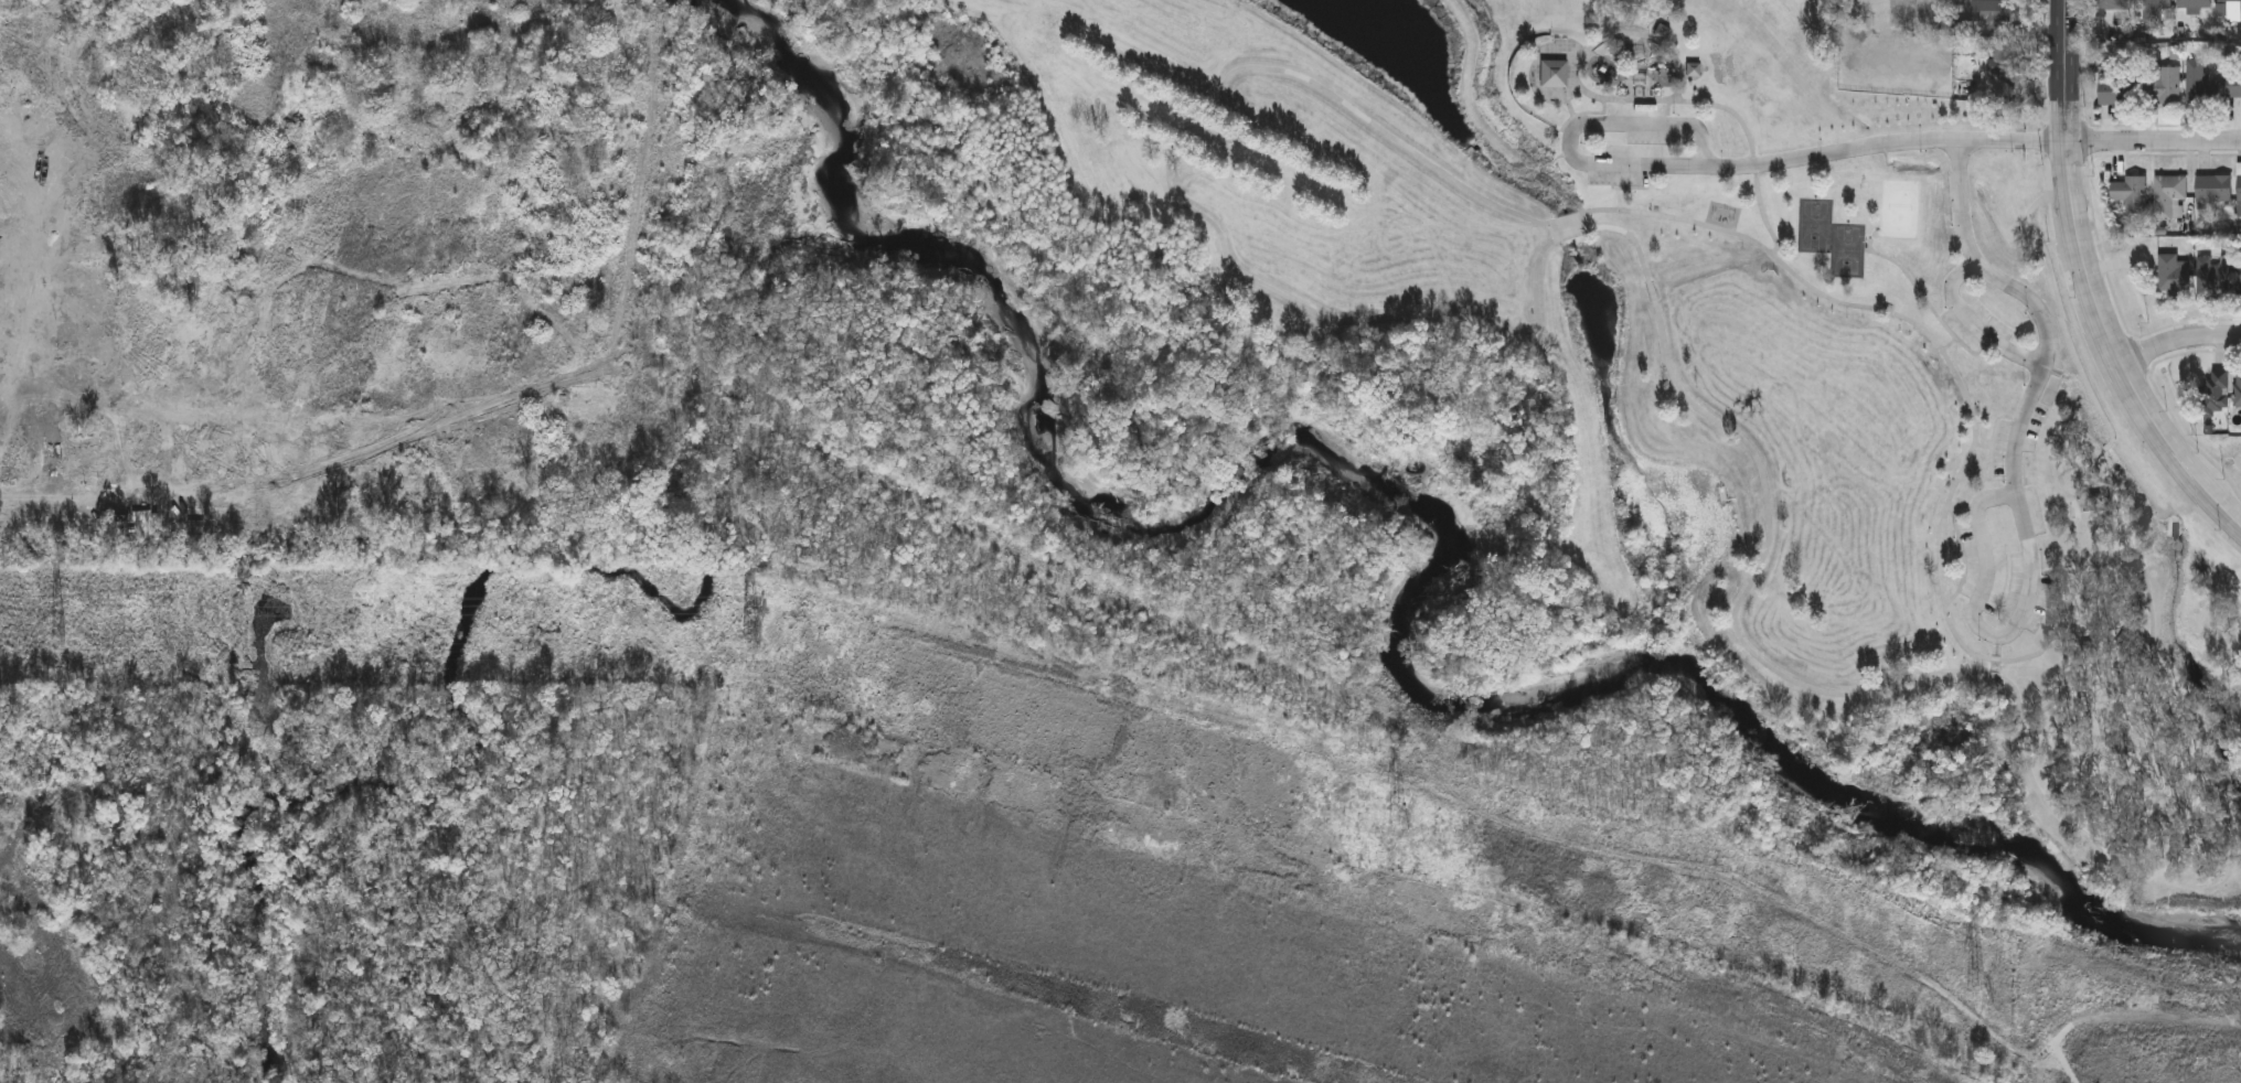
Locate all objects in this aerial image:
building: (2229, 1)
building: (2194, 3)
building: (2112, 6)
building: (2153, 9)
building: (1991, 10)
building: (1555, 73)
building: (2198, 84)
building: (2160, 86)
building: (2233, 86)
building: (2115, 93)
road: (2153, 141)
road: (1724, 165)
building: (2212, 189)
building: (2130, 193)
building: (2239, 194)
building: (2168, 197)
park: (1827, 230)
park: (1860, 256)
building: (2173, 277)
building: (2224, 282)
road: (2092, 283)
road: (1827, 297)
road: (1977, 324)
road: (2177, 337)
building: (2238, 390)
building: (2213, 393)
park: (1502, 441)
road: (2017, 473)
building: (147, 485)
road: (1770, 507)
power tower: (749, 624)
power tower: (57, 625)
power tower: (1398, 813)
power tower: (1975, 978)

